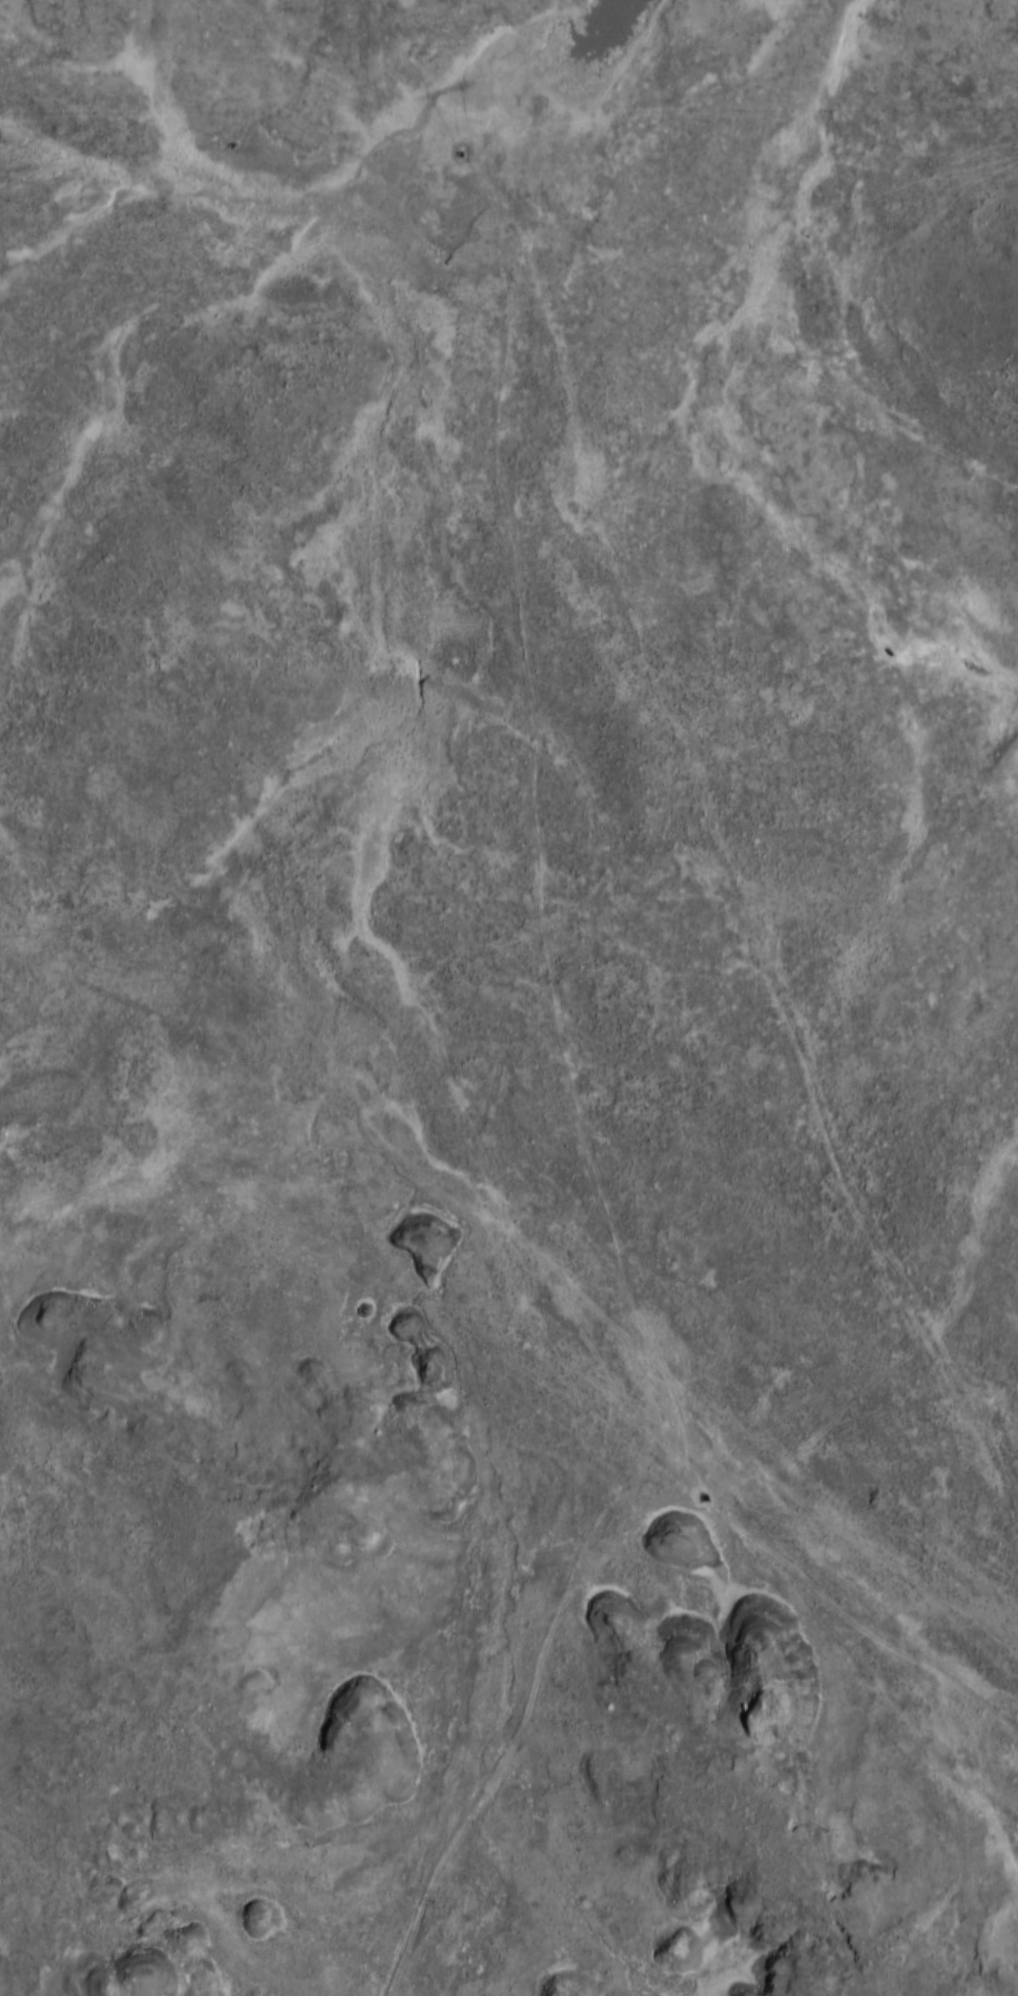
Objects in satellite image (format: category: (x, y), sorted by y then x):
road: (429, 1051)

